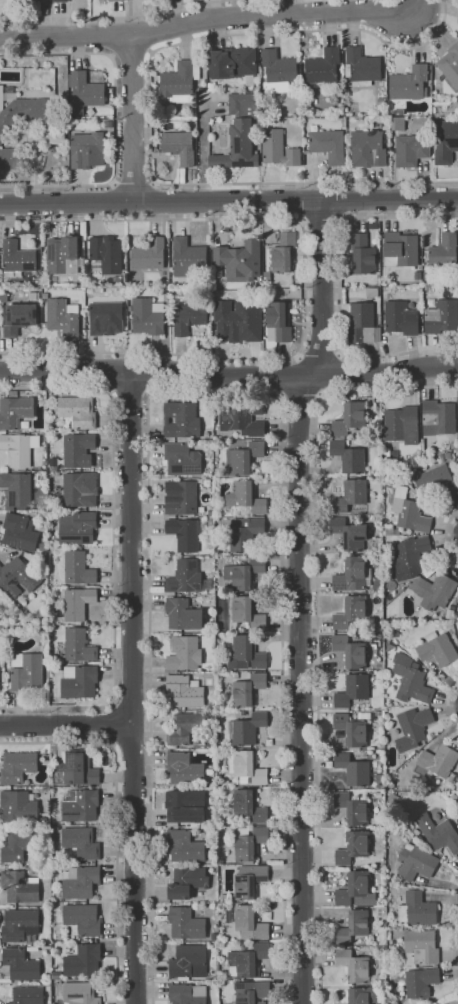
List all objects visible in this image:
building: (40, 0)
building: (61, 0)
building: (119, 0)
road: (422, 5)
road: (122, 17)
road: (210, 20)
road: (132, 54)
building: (234, 64)
building: (450, 64)
building: (362, 67)
building: (322, 68)
building: (278, 71)
building: (181, 81)
building: (409, 84)
building: (211, 87)
building: (202, 89)
building: (232, 89)
building: (10, 90)
building: (86, 92)
building: (200, 96)
building: (215, 96)
building: (381, 100)
road: (150, 104)
building: (398, 112)
building: (27, 113)
road: (134, 117)
road: (115, 119)
building: (107, 123)
building: (397, 123)
building: (240, 133)
building: (58, 137)
building: (445, 141)
building: (328, 144)
building: (179, 146)
building: (87, 148)
building: (278, 149)
building: (367, 149)
building: (410, 150)
building: (11, 158)
road: (134, 183)
road: (228, 200)
road: (322, 222)
building: (266, 233)
building: (82, 237)
building: (400, 249)
building: (444, 250)
building: (363, 254)
building: (63, 255)
building: (106, 255)
building: (149, 255)
building: (280, 256)
building: (187, 257)
building: (17, 259)
building: (239, 261)
building: (426, 277)
building: (67, 285)
road: (305, 287)
road: (338, 288)
building: (372, 292)
building: (168, 294)
building: (32, 295)
building: (44, 295)
building: (4, 298)
building: (431, 302)
building: (168, 303)
building: (104, 316)
building: (147, 316)
building: (63, 317)
building: (442, 317)
building: (19, 318)
building: (190, 318)
building: (401, 318)
building: (237, 320)
building: (278, 323)
building: (363, 323)
road: (319, 352)
road: (229, 373)
road: (131, 391)
building: (13, 393)
road: (211, 394)
road: (300, 397)
building: (457, 397)
building: (78, 411)
building: (15, 412)
building: (438, 417)
building: (243, 418)
building: (349, 419)
building: (181, 420)
building: (402, 425)
building: (19, 449)
building: (77, 449)
building: (391, 452)
building: (349, 457)
building: (243, 458)
building: (182, 459)
building: (450, 460)
building: (207, 464)
building: (56, 466)
building: (57, 473)
building: (206, 482)
building: (436, 482)
building: (18, 488)
building: (76, 492)
building: (413, 494)
building: (245, 496)
building: (350, 496)
building: (183, 499)
building: (408, 512)
building: (52, 527)
building: (78, 528)
building: (390, 530)
building: (21, 531)
building: (403, 532)
building: (186, 533)
building: (350, 533)
road: (446, 533)
building: (244, 534)
building: (45, 546)
road: (113, 548)
building: (411, 557)
building: (78, 567)
building: (244, 573)
building: (353, 575)
building: (18, 577)
building: (187, 578)
building: (434, 591)
building: (0, 598)
road: (300, 598)
building: (457, 600)
building: (77, 601)
building: (350, 613)
building: (183, 614)
building: (248, 614)
building: (45, 621)
building: (29, 622)
building: (14, 624)
road: (317, 630)
building: (44, 632)
building: (80, 645)
building: (437, 649)
building: (350, 651)
building: (184, 654)
building: (246, 654)
building: (27, 670)
building: (235, 675)
building: (8, 679)
building: (410, 680)
building: (79, 681)
building: (208, 681)
road: (131, 687)
building: (186, 690)
building: (248, 690)
building: (352, 691)
building: (72, 701)
building: (221, 704)
road: (448, 704)
building: (378, 713)
building: (370, 721)
road: (65, 723)
road: (113, 724)
building: (186, 727)
building: (412, 728)
building: (247, 729)
building: (349, 732)
building: (438, 761)
building: (19, 766)
building: (248, 767)
building: (76, 769)
building: (185, 769)
building: (353, 770)
building: (454, 776)
building: (81, 805)
building: (186, 805)
building: (250, 805)
building: (21, 806)
building: (352, 808)
building: (457, 811)
road: (116, 817)
building: (58, 821)
building: (415, 832)
building: (438, 833)
building: (82, 842)
building: (250, 842)
building: (20, 844)
building: (185, 846)
building: (353, 847)
building: (416, 862)
building: (217, 875)
building: (250, 881)
building: (82, 882)
building: (188, 882)
building: (21, 886)
building: (357, 890)
building: (49, 902)
building: (418, 908)
building: (83, 920)
building: (251, 921)
building: (187, 923)
building: (21, 925)
building: (356, 926)
building: (430, 928)
road: (453, 931)
building: (50, 943)
building: (246, 945)
building: (421, 947)
building: (69, 950)
building: (84, 960)
building: (248, 960)
building: (190, 961)
building: (22, 964)
building: (355, 965)
building: (57, 975)
building: (422, 982)
building: (81, 993)
building: (251, 993)
building: (188, 994)
building: (29, 995)
building: (363, 995)

